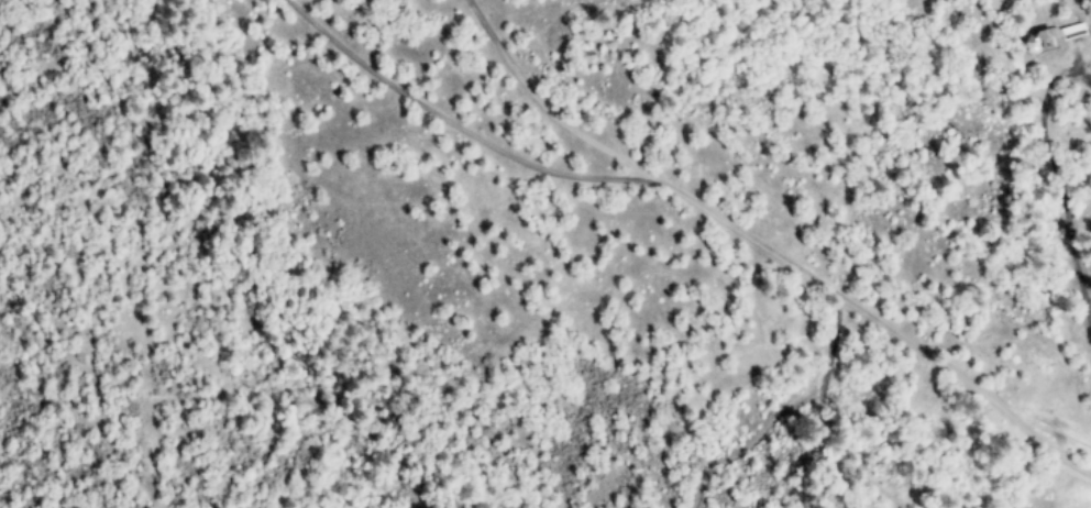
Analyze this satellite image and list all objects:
building: (1051, 35)

